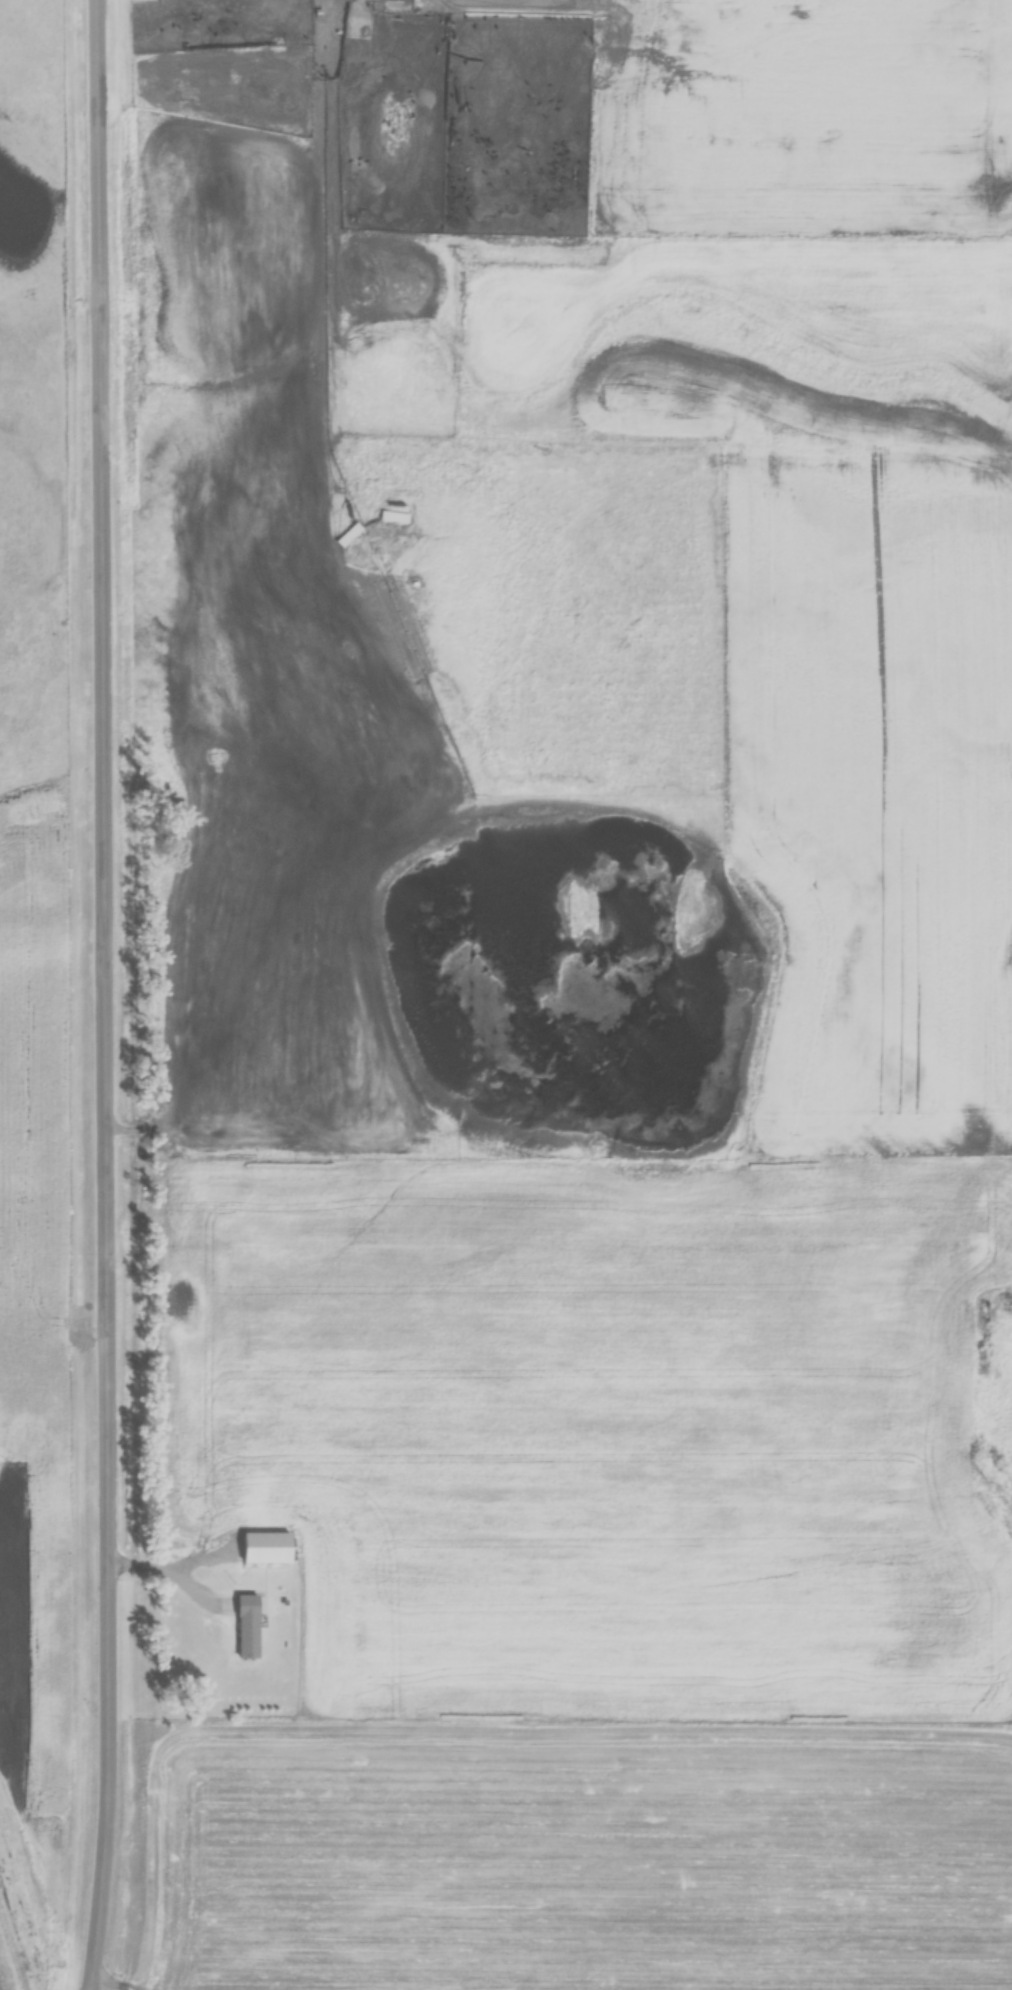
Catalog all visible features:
road: (105, 995)
building: (245, 1626)

